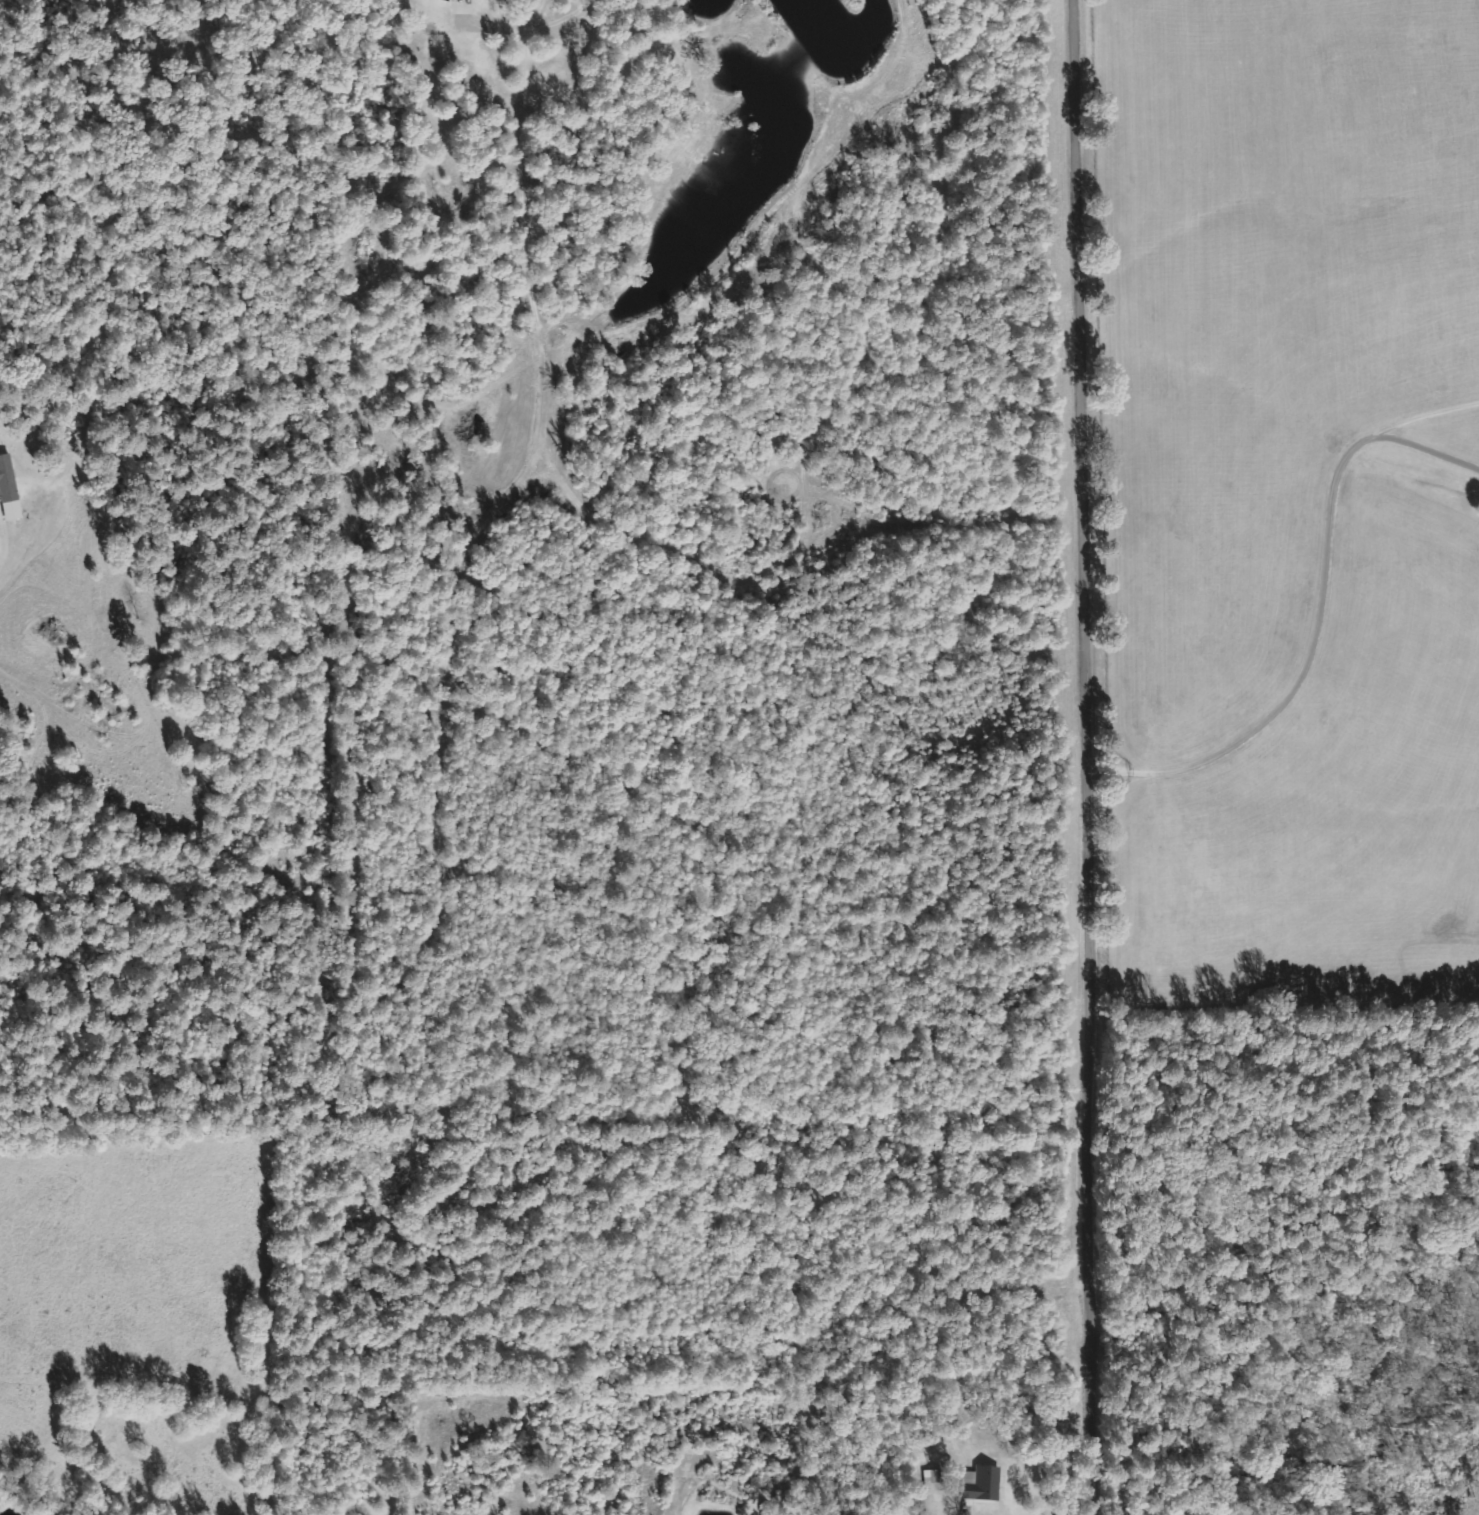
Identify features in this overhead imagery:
building: (11, 486)
road: (1099, 757)
building: (977, 1483)

